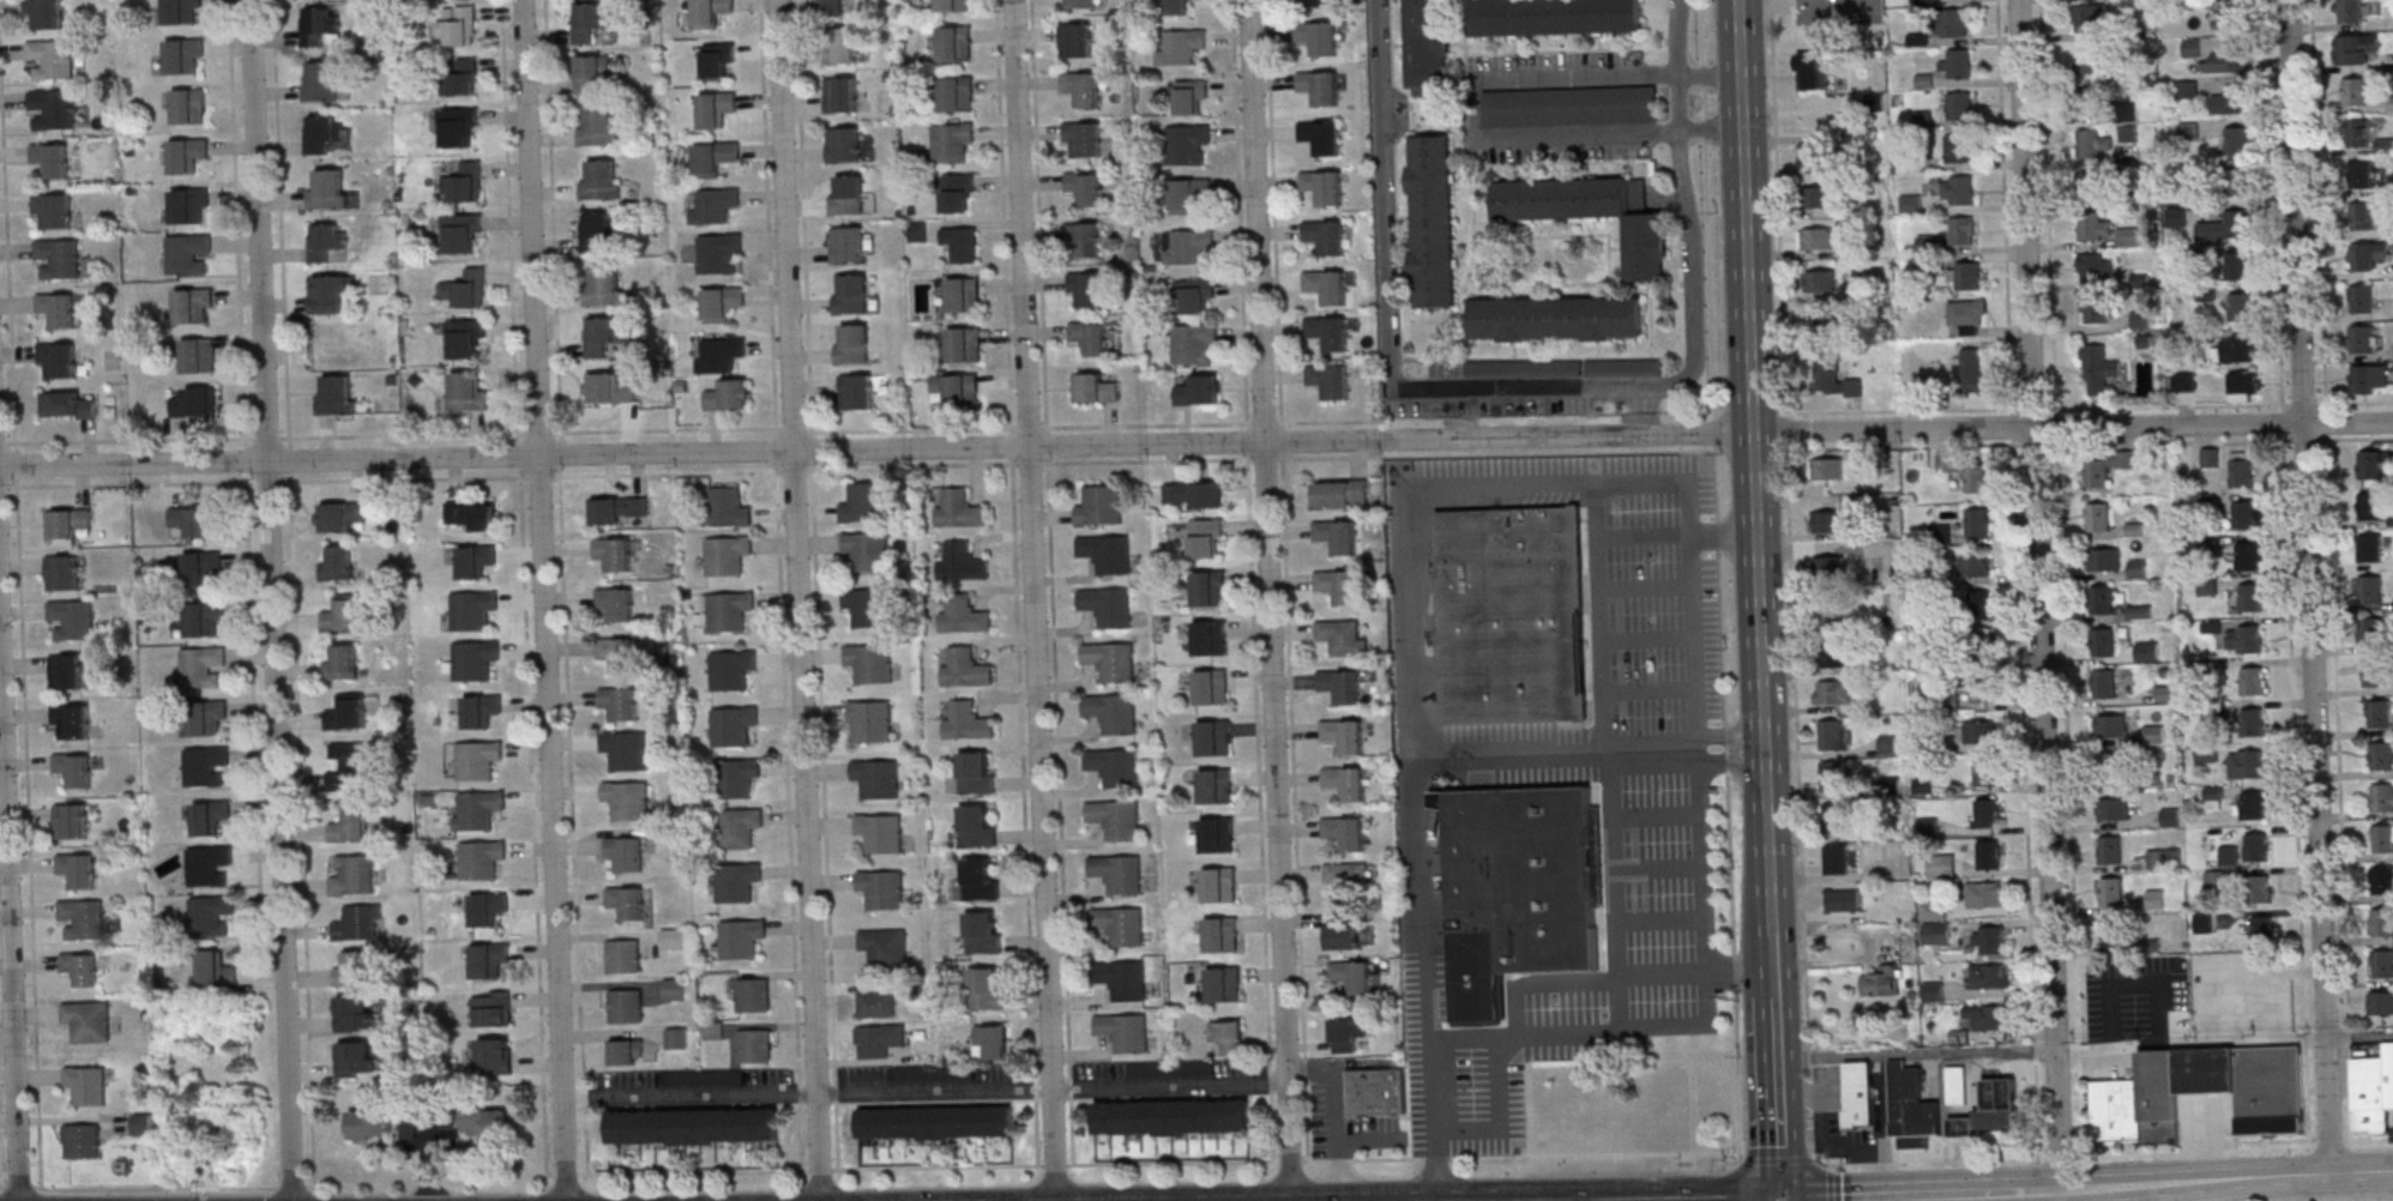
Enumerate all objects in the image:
building: (1322, 2)
building: (1081, 4)
building: (953, 5)
building: (1179, 6)
building: (834, 7)
building: (182, 11)
building: (2349, 11)
building: (711, 12)
building: (46, 13)
road: (1838, 13)
building: (1554, 16)
building: (2090, 17)
building: (2231, 17)
building: (591, 20)
building: (1954, 23)
building: (320, 26)
building: (458, 26)
road: (1681, 36)
building: (1318, 37)
building: (1075, 40)
building: (1428, 42)
building: (956, 43)
building: (840, 44)
building: (1181, 47)
building: (2356, 50)
building: (185, 55)
building: (52, 58)
building: (718, 59)
building: (2092, 59)
building: (2229, 61)
building: (1957, 64)
building: (1814, 71)
building: (592, 72)
road: (1710, 73)
building: (462, 77)
building: (323, 80)
building: (1320, 86)
building: (1083, 87)
building: (2186, 91)
building: (2355, 92)
building: (842, 93)
building: (957, 93)
building: (1187, 97)
road: (1681, 101)
building: (2093, 101)
building: (2231, 102)
building: (189, 105)
road: (1473, 105)
building: (1571, 105)
building: (1959, 107)
building: (53, 109)
building: (717, 109)
road: (1711, 125)
building: (599, 126)
building: (458, 127)
building: (2358, 133)
building: (325, 134)
building: (1321, 137)
building: (1081, 139)
building: (2236, 141)
building: (952, 143)
building: (2094, 143)
building: (844, 144)
building: (1188, 144)
building: (1959, 147)
building: (187, 153)
building: (1809, 157)
building: (52, 158)
building: (715, 158)
building: (2362, 174)
building: (601, 179)
building: (464, 182)
building: (2093, 182)
building: (2238, 183)
building: (1324, 186)
building: (1085, 187)
building: (328, 189)
building: (1958, 189)
building: (958, 192)
building: (849, 194)
building: (1188, 194)
building: (1821, 197)
building: (1911, 203)
road: (1778, 204)
building: (191, 205)
building: (715, 205)
building: (54, 210)
building: (1595, 213)
building: (2368, 213)
building: (2178, 217)
building: (1435, 221)
building: (2226, 227)
building: (2094, 228)
building: (1963, 230)
building: (598, 231)
building: (460, 233)
building: (1326, 236)
building: (1816, 239)
building: (2134, 239)
building: (326, 240)
building: (1083, 240)
building: (848, 243)
building: (960, 243)
building: (1187, 246)
building: (718, 253)
building: (188, 254)
building: (2368, 254)
building: (2199, 255)
building: (58, 258)
building: (2237, 266)
building: (2097, 268)
building: (1965, 276)
building: (1819, 282)
building: (604, 284)
building: (1326, 286)
building: (466, 289)
building: (1085, 289)
building: (331, 294)
building: (850, 294)
building: (1195, 294)
building: (963, 295)
building: (2206, 295)
building: (2362, 298)
building: (722, 303)
building: (194, 306)
building: (2241, 307)
building: (59, 308)
building: (2093, 312)
building: (1969, 314)
building: (1556, 318)
building: (1822, 318)
building: (2141, 320)
building: (1328, 332)
building: (604, 334)
building: (1090, 337)
building: (465, 338)
building: (2362, 339)
building: (1194, 343)
building: (852, 344)
building: (964, 344)
building: (2236, 349)
building: (719, 354)
building: (199, 355)
building: (58, 360)
building: (1443, 368)
building: (1626, 368)
building: (1970, 368)
building: (1524, 369)
building: (2099, 370)
building: (1832, 375)
building: (2370, 379)
building: (1330, 380)
building: (2184, 380)
building: (2243, 382)
building: (1096, 386)
building: (609, 388)
building: (957, 388)
building: (1200, 390)
building: (466, 391)
building: (856, 391)
road: (1471, 392)
building: (337, 394)
building: (729, 394)
building: (194, 402)
building: (68, 404)
road: (2088, 408)
road: (1785, 424)
road: (2074, 426)
road: (2090, 442)
road: (878, 448)
building: (2210, 457)
road: (1756, 466)
building: (2370, 466)
building: (1827, 469)
building: (2106, 469)
building: (2242, 469)
building: (1966, 471)
building: (1340, 493)
road: (246, 494)
building: (1193, 494)
building: (864, 502)
building: (1099, 506)
building: (729, 507)
building: (2370, 507)
building: (960, 508)
building: (619, 509)
building: (2242, 514)
building: (340, 515)
building: (471, 515)
building: (2098, 517)
building: (194, 520)
building: (1827, 521)
building: (67, 523)
building: (1976, 523)
building: (1337, 536)
building: (1206, 538)
building: (2369, 548)
building: (867, 549)
building: (614, 553)
building: (1105, 553)
building: (727, 554)
building: (2248, 555)
building: (2104, 559)
building: (475, 560)
building: (963, 561)
building: (338, 563)
building: (1830, 566)
building: (201, 567)
building: (1973, 567)
building: (64, 572)
building: (1337, 585)
road: (1644, 585)
road: (563, 586)
road: (524, 587)
building: (1210, 587)
road: (2310, 587)
building: (2370, 590)
road: (294, 591)
road: (20, 593)
road: (2041, 593)
building: (2250, 597)
road: (271, 599)
building: (2100, 599)
road: (544, 600)
road: (801, 600)
road: (1035, 600)
road: (1271, 600)
road: (1720, 600)
building: (616, 602)
building: (1976, 603)
building: (868, 606)
building: (1108, 606)
building: (472, 610)
building: (729, 610)
building: (1832, 612)
building: (343, 614)
building: (1512, 614)
building: (964, 615)
building: (72, 618)
building: (205, 618)
building: (2371, 632)
building: (1210, 636)
building: (1342, 638)
road: (1646, 639)
building: (2244, 639)
building: (2102, 642)
road: (1416, 645)
building: (1981, 645)
building: (2147, 651)
building: (617, 652)
building: (1836, 657)
building: (472, 659)
building: (1110, 660)
building: (342, 662)
building: (870, 662)
building: (203, 666)
building: (965, 668)
building: (729, 669)
building: (66, 671)
building: (2374, 674)
building: (2253, 681)
building: (2104, 683)
building: (1342, 686)
building: (1212, 687)
building: (1983, 688)
road: (1648, 690)
building: (1834, 692)
building: (619, 702)
building: (480, 710)
building: (348, 712)
building: (1111, 712)
building: (2379, 714)
building: (207, 717)
building: (870, 720)
building: (968, 720)
building: (71, 722)
building: (2253, 722)
building: (734, 724)
building: (2109, 726)
building: (1981, 732)
building: (2153, 734)
building: (1344, 735)
building: (1832, 735)
building: (1213, 737)
building: (625, 749)
road: (1730, 749)
road: (1557, 753)
road: (1608, 756)
building: (2381, 756)
building: (477, 759)
building: (2110, 765)
building: (2246, 765)
building: (206, 766)
building: (351, 766)
building: (1113, 766)
building: (73, 768)
building: (1984, 771)
building: (976, 772)
building: (1833, 775)
building: (739, 777)
building: (878, 778)
building: (1346, 783)
building: (1216, 785)
building: (2382, 797)
building: (627, 798)
building: (2253, 805)
building: (477, 809)
building: (2114, 809)
building: (1988, 813)
road: (1654, 815)
building: (210, 816)
building: (1836, 817)
building: (2170, 817)
building: (1115, 819)
building: (72, 820)
building: (351, 825)
building: (977, 825)
road: (1800, 825)
building: (741, 827)
building: (881, 832)
building: (1345, 833)
building: (1217, 834)
building: (2382, 838)
building: (2256, 846)
building: (2109, 850)
building: (625, 852)
building: (1989, 855)
building: (1837, 858)
building: (481, 859)
building: (2164, 859)
building: (209, 864)
building: (1941, 867)
road: (1657, 868)
building: (78, 869)
building: (1116, 873)
building: (352, 874)
building: (1348, 876)
building: (981, 879)
building: (2381, 879)
building: (736, 882)
building: (1219, 885)
building: (881, 888)
building: (2261, 888)
building: (1520, 891)
building: (2111, 892)
building: (1985, 894)
building: (1843, 900)
building: (626, 901)
building: (487, 907)
road: (10, 913)
building: (211, 916)
building: (83, 918)
road: (1658, 921)
road: (1704, 922)
building: (358, 923)
building: (2381, 923)
building: (1122, 925)
building: (1342, 929)
building: (2261, 929)
building: (983, 931)
building: (2112, 931)
building: (1222, 934)
building: (671, 937)
building: (741, 939)
building: (1990, 940)
building: (885, 948)
building: (622, 955)
building: (488, 959)
road: (1773, 962)
road: (1740, 964)
building: (2382, 964)
building: (82, 967)
building: (216, 968)
building: (352, 968)
building: (1989, 976)
building: (1356, 977)
building: (1120, 978)
road: (1583, 978)
building: (1881, 982)
road: (2280, 982)
building: (1224, 983)
building: (985, 988)
building: (674, 989)
building: (753, 995)
building: (876, 1003)
building: (2380, 1003)
building: (626, 1004)
building: (490, 1008)
building: (354, 1013)
building: (1988, 1016)
building: (88, 1020)
building: (2177, 1021)
building: (1123, 1032)
road: (1464, 1032)
building: (1346, 1033)
road: (2361, 1033)
building: (1228, 1036)
building: (676, 1037)
building: (879, 1039)
building: (993, 1040)
road: (2193, 1044)
building: (755, 1045)
building: (627, 1052)
road: (1918, 1055)
building: (493, 1056)
building: (356, 1058)
building: (1173, 1069)
building: (2211, 1072)
building: (933, 1074)
building: (703, 1079)
building: (88, 1084)
building: (1957, 1085)
road: (1054, 1086)
building: (2163, 1086)
building: (2373, 1086)
building: (1378, 1091)
building: (2273, 1092)
road: (693, 1093)
road: (1780, 1096)
building: (1862, 1096)
building: (1910, 1103)
road: (1336, 1111)
building: (2118, 1111)
building: (1990, 1112)
building: (1173, 1117)
building: (141, 1122)
building: (372, 1122)
building: (936, 1122)
building: (477, 1123)
building: (408, 1125)
building: (694, 1125)
building: (82, 1140)
road: (2111, 1154)
road: (1236, 1160)
road: (1779, 1160)
road: (2274, 1178)
road: (364, 1183)
road: (2088, 1185)
road: (2217, 1190)
road: (2156, 1191)
road: (1954, 1199)
road: (2386, 1200)

